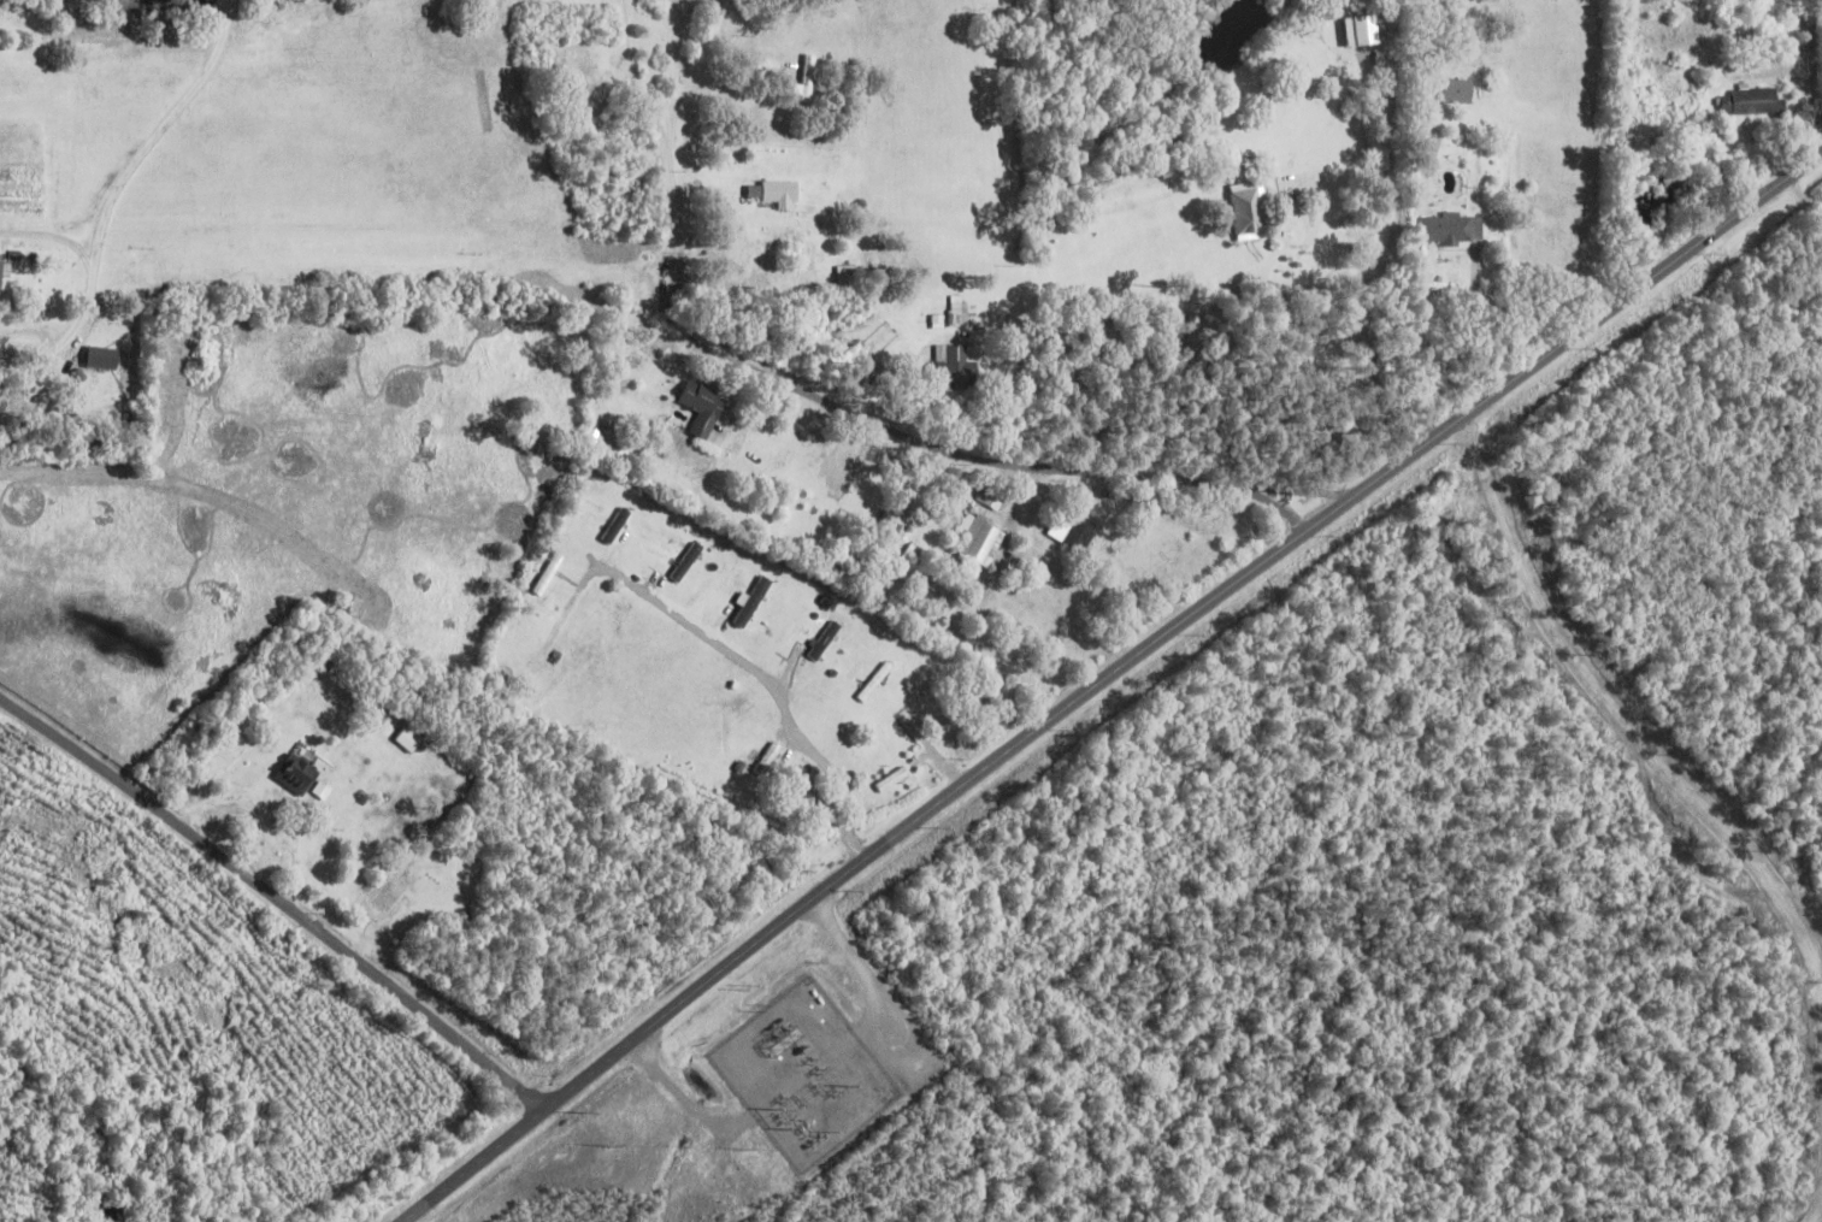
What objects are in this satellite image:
building: (1363, 29)
building: (808, 78)
building: (1461, 89)
building: (1752, 99)
road: (1500, 181)
building: (777, 191)
road: (114, 195)
building: (1252, 209)
building: (1454, 228)
building: (5, 268)
road: (1627, 297)
building: (959, 308)
road: (1075, 317)
building: (938, 319)
building: (957, 361)
building: (704, 406)
building: (992, 496)
building: (895, 524)
building: (1077, 533)
building: (981, 538)
building: (689, 560)
building: (754, 600)
building: (826, 639)
road: (1588, 736)
building: (412, 738)
building: (770, 757)
road: (986, 771)
building: (299, 773)
building: (324, 790)
road: (277, 898)
building: (389, 898)
road: (474, 1165)
road: (1806, 1167)

